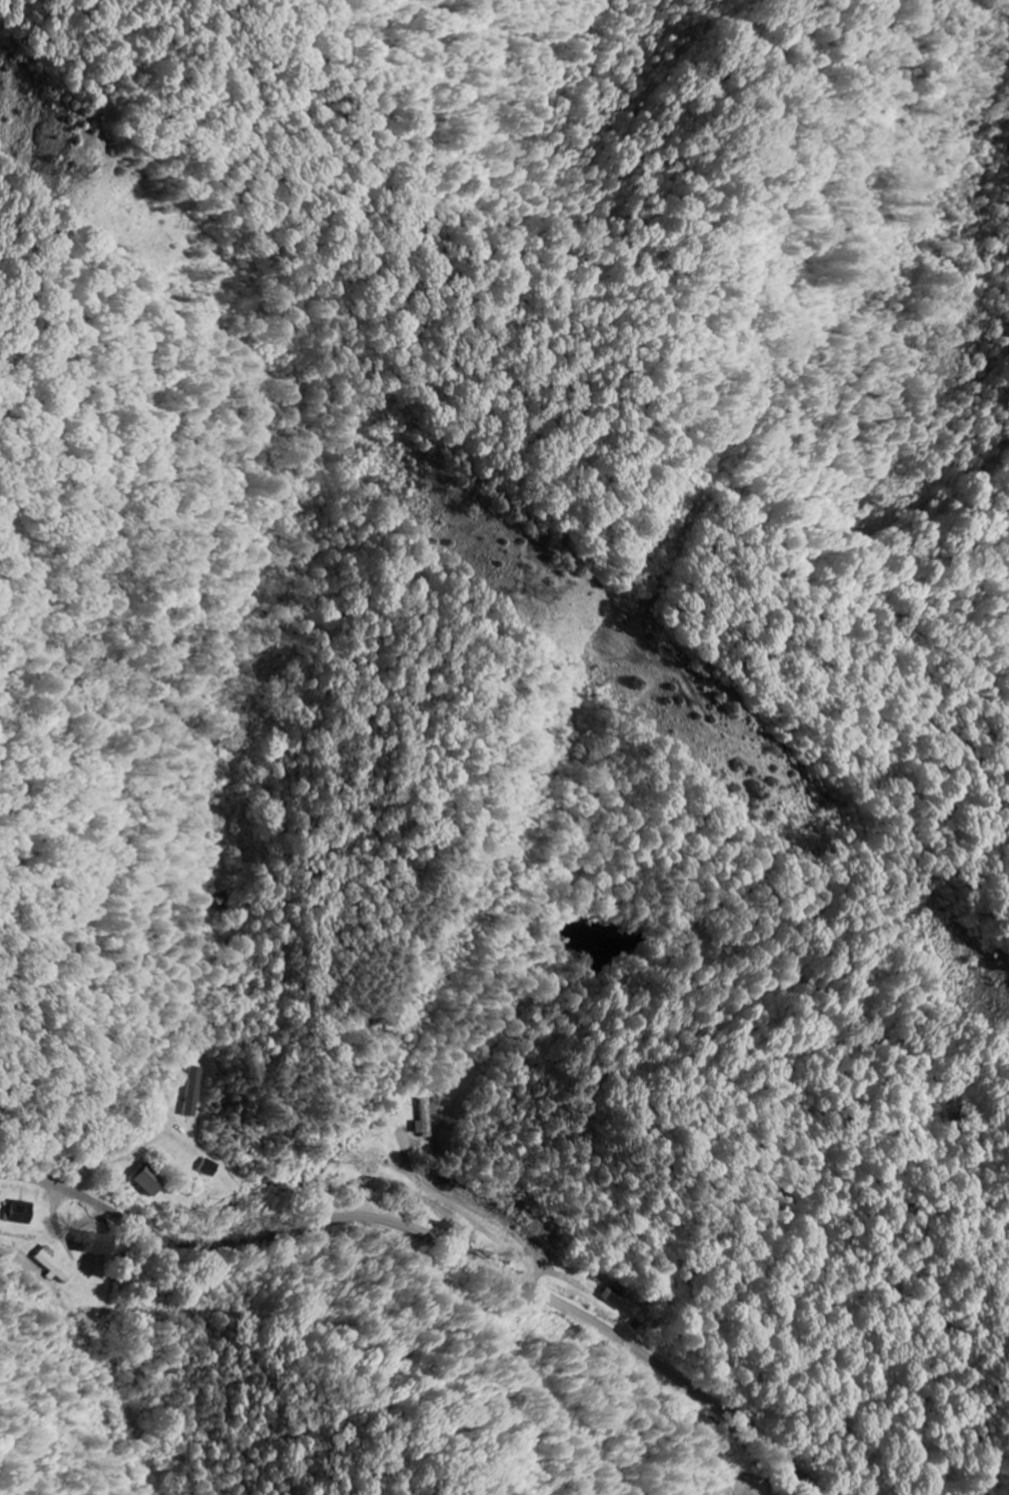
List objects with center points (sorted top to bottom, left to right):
power tower: (76, 174)
building: (190, 1091)
building: (206, 1167)
building: (147, 1181)
building: (22, 1212)
road: (435, 1242)
building: (54, 1263)

